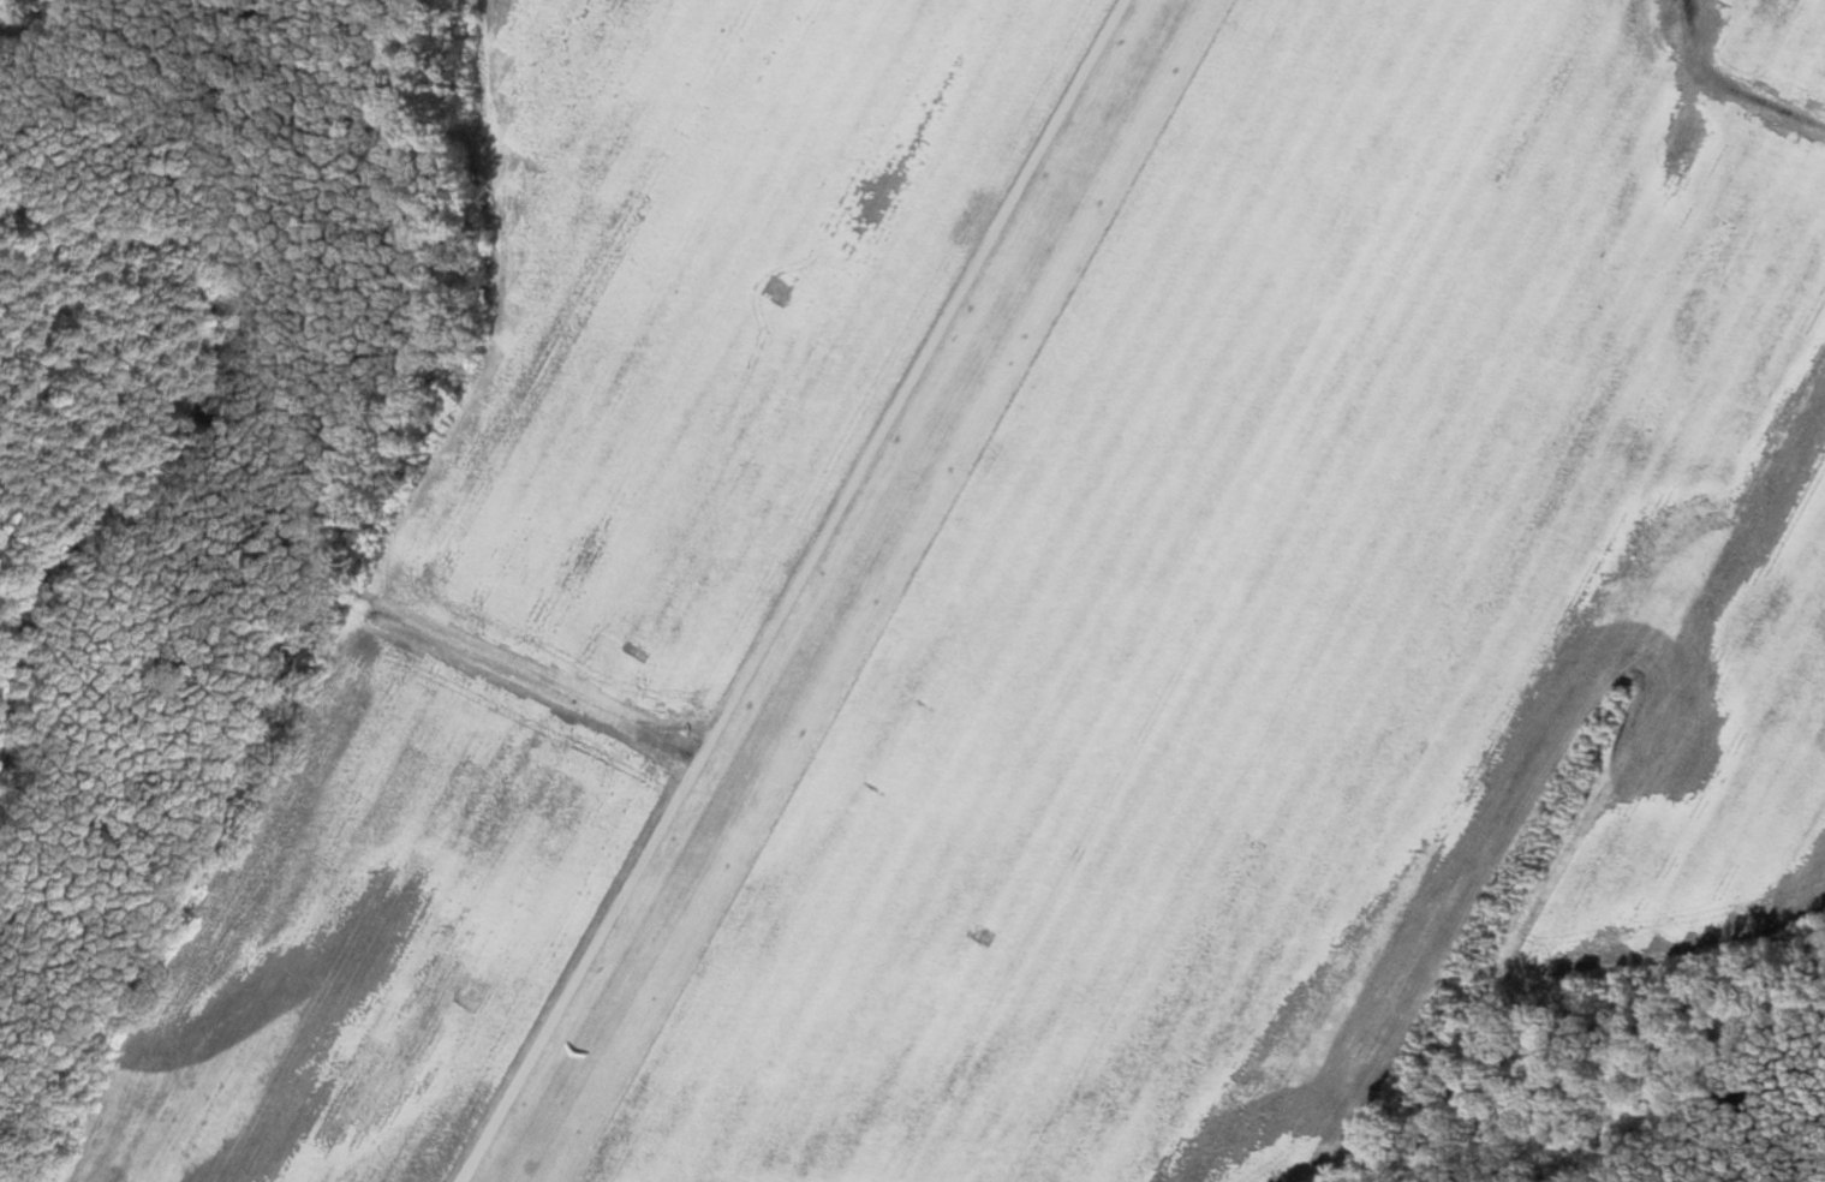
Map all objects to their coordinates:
airport runway: (843, 590)
road: (794, 591)

